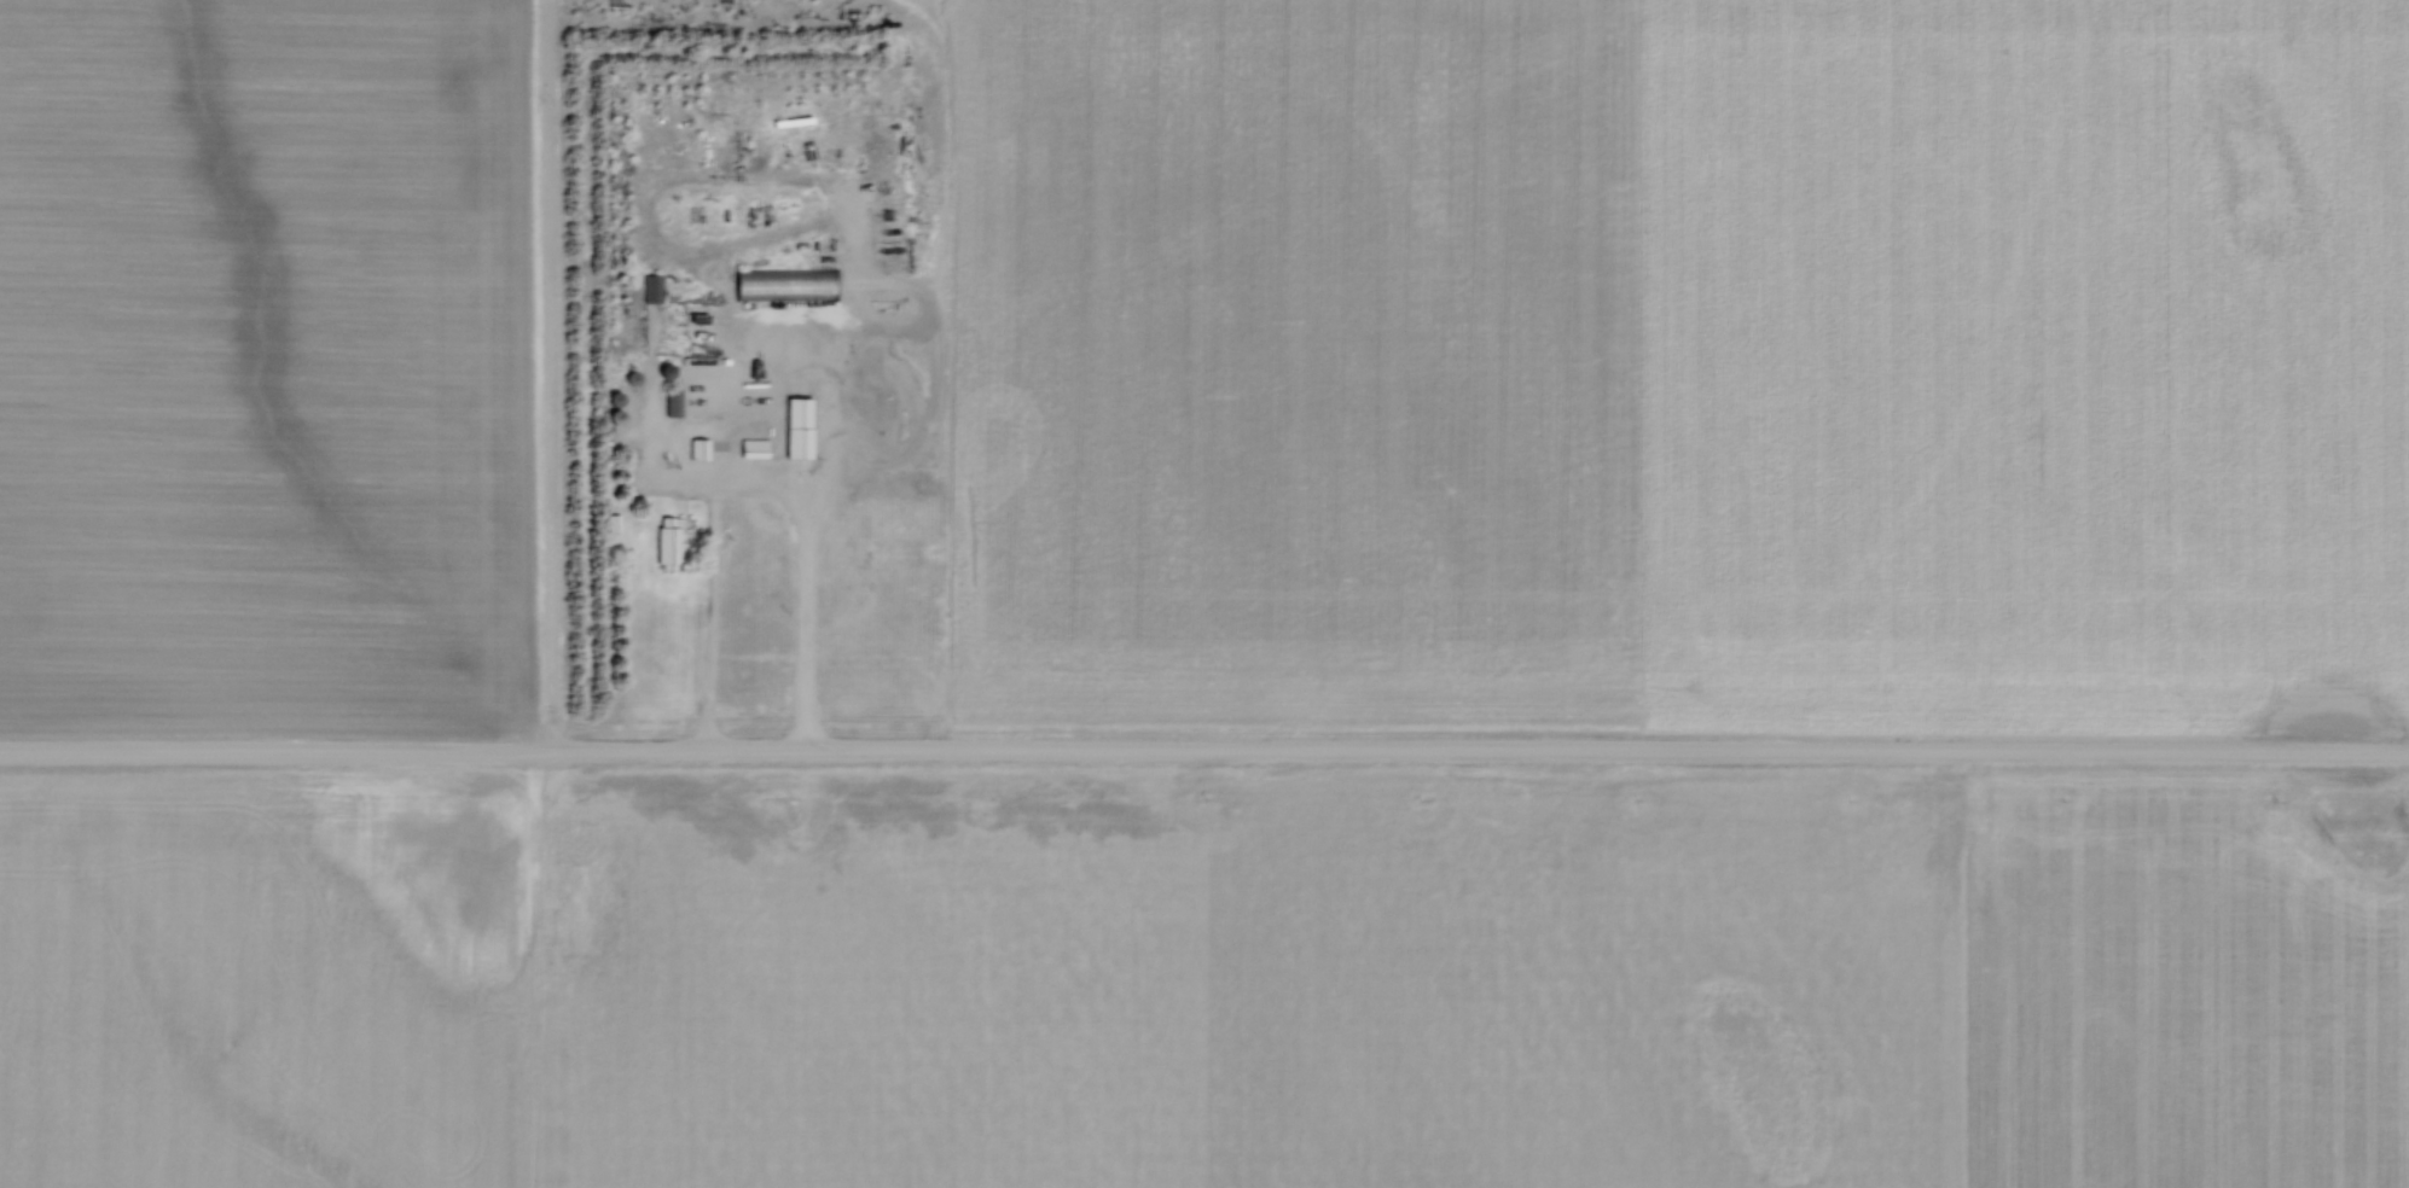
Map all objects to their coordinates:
road: (803, 185)
building: (785, 285)
building: (652, 290)
crop: (280, 365)
crop: (1677, 365)
building: (669, 369)
silo: (669, 369)
building: (637, 378)
silo: (637, 378)
building: (617, 396)
silo: (617, 396)
building: (675, 400)
road: (697, 409)
building: (614, 418)
silo: (614, 418)
building: (802, 427)
building: (702, 448)
building: (759, 448)
road: (759, 488)
building: (614, 524)
building: (673, 541)
road: (1203, 753)
crop: (1204, 980)

